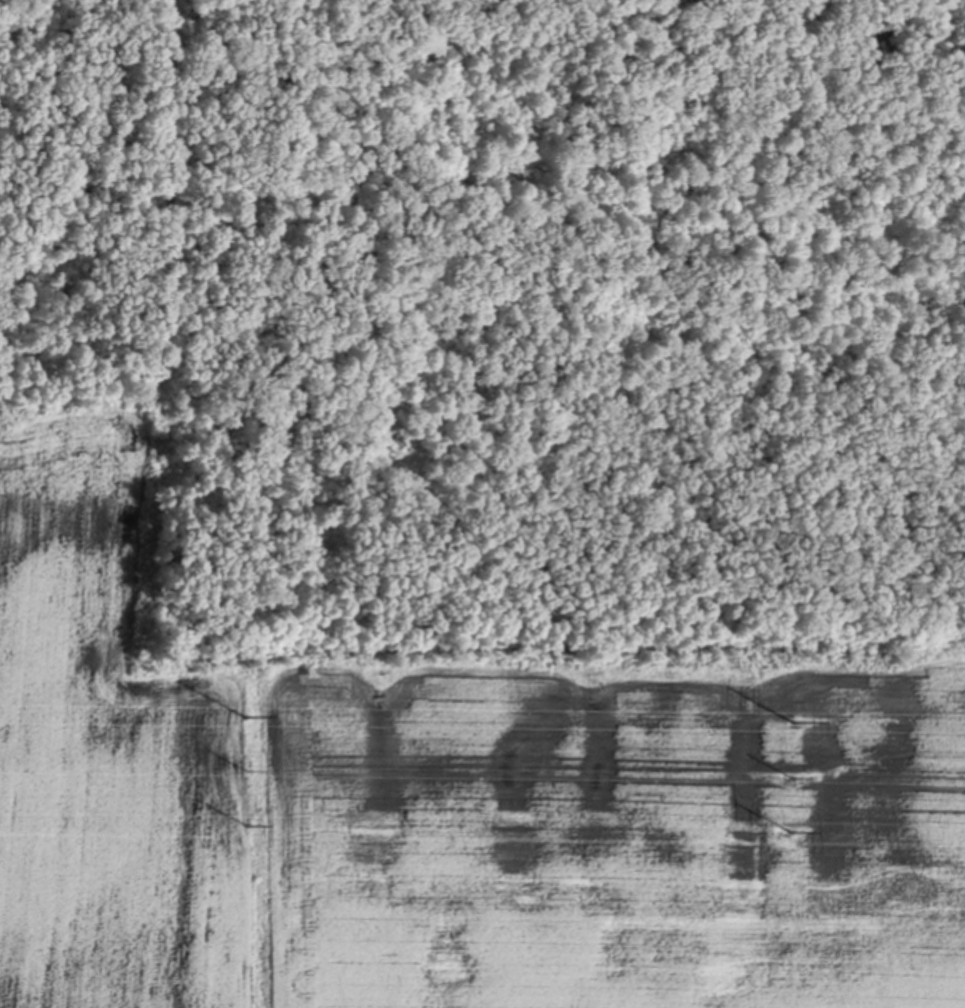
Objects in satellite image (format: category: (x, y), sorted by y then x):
power tower: (246, 713)
power tower: (795, 718)

